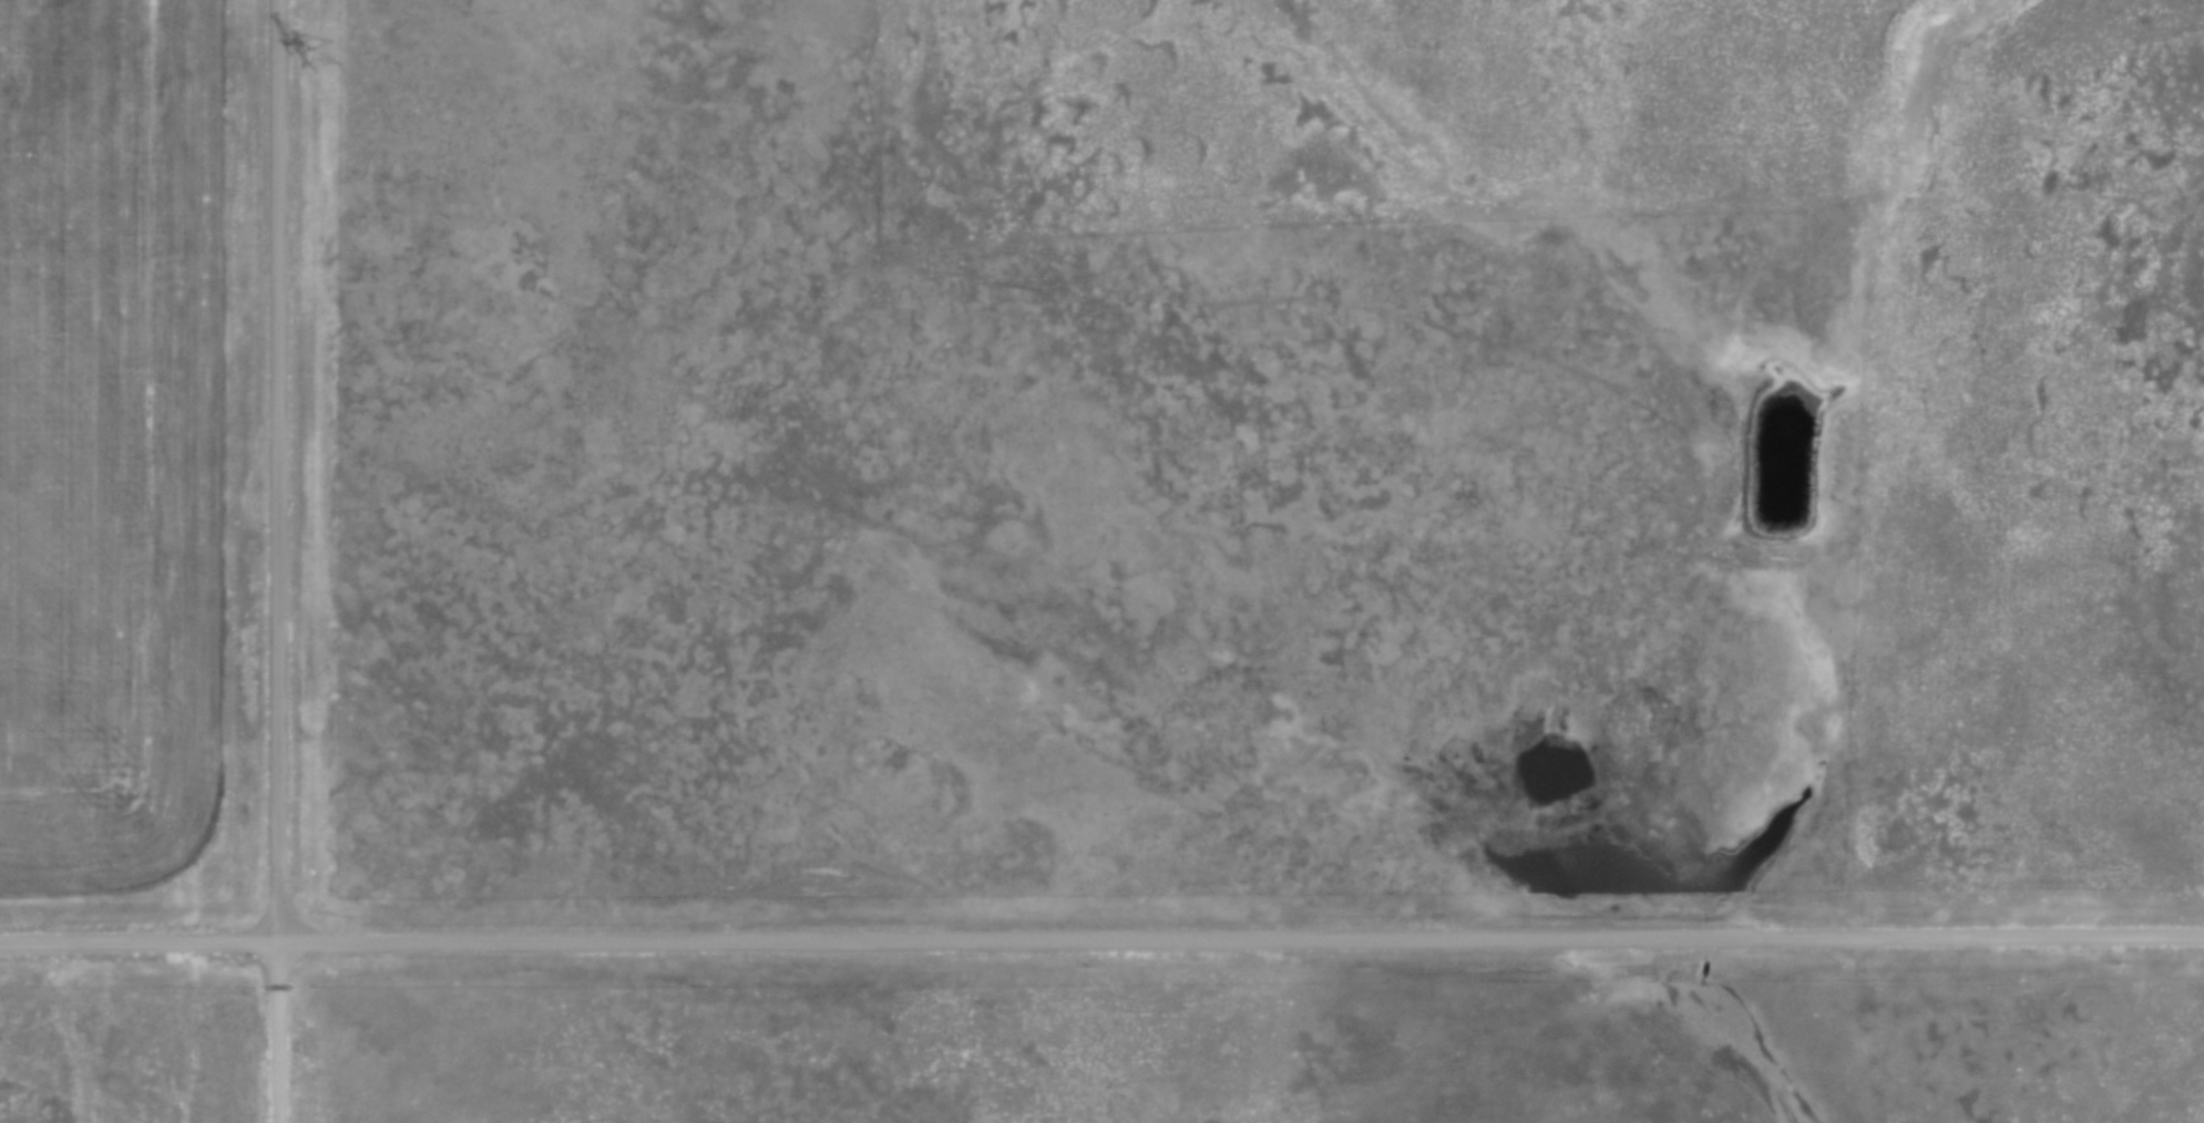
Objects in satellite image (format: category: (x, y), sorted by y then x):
power tower: (330, 56)
road: (280, 472)
road: (1101, 942)
road: (279, 1033)

